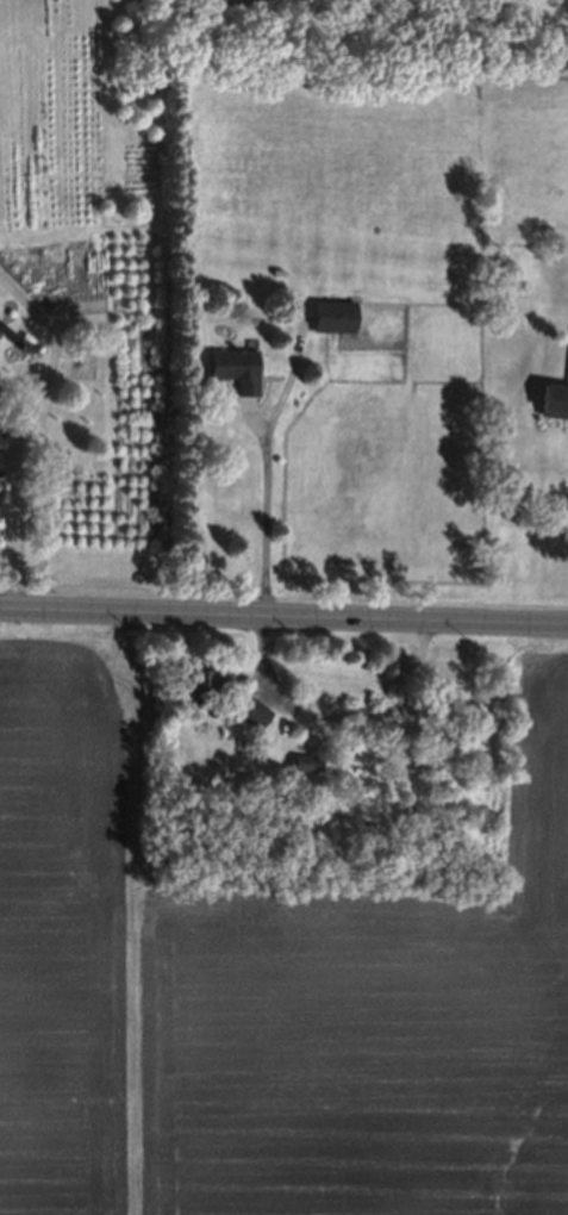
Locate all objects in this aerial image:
building: (325, 314)
building: (23, 345)
building: (227, 367)
building: (553, 400)
road: (23, 430)
road: (268, 522)
road: (283, 617)
building: (206, 683)
building: (251, 710)
road: (338, 716)
building: (299, 760)
building: (276, 797)

